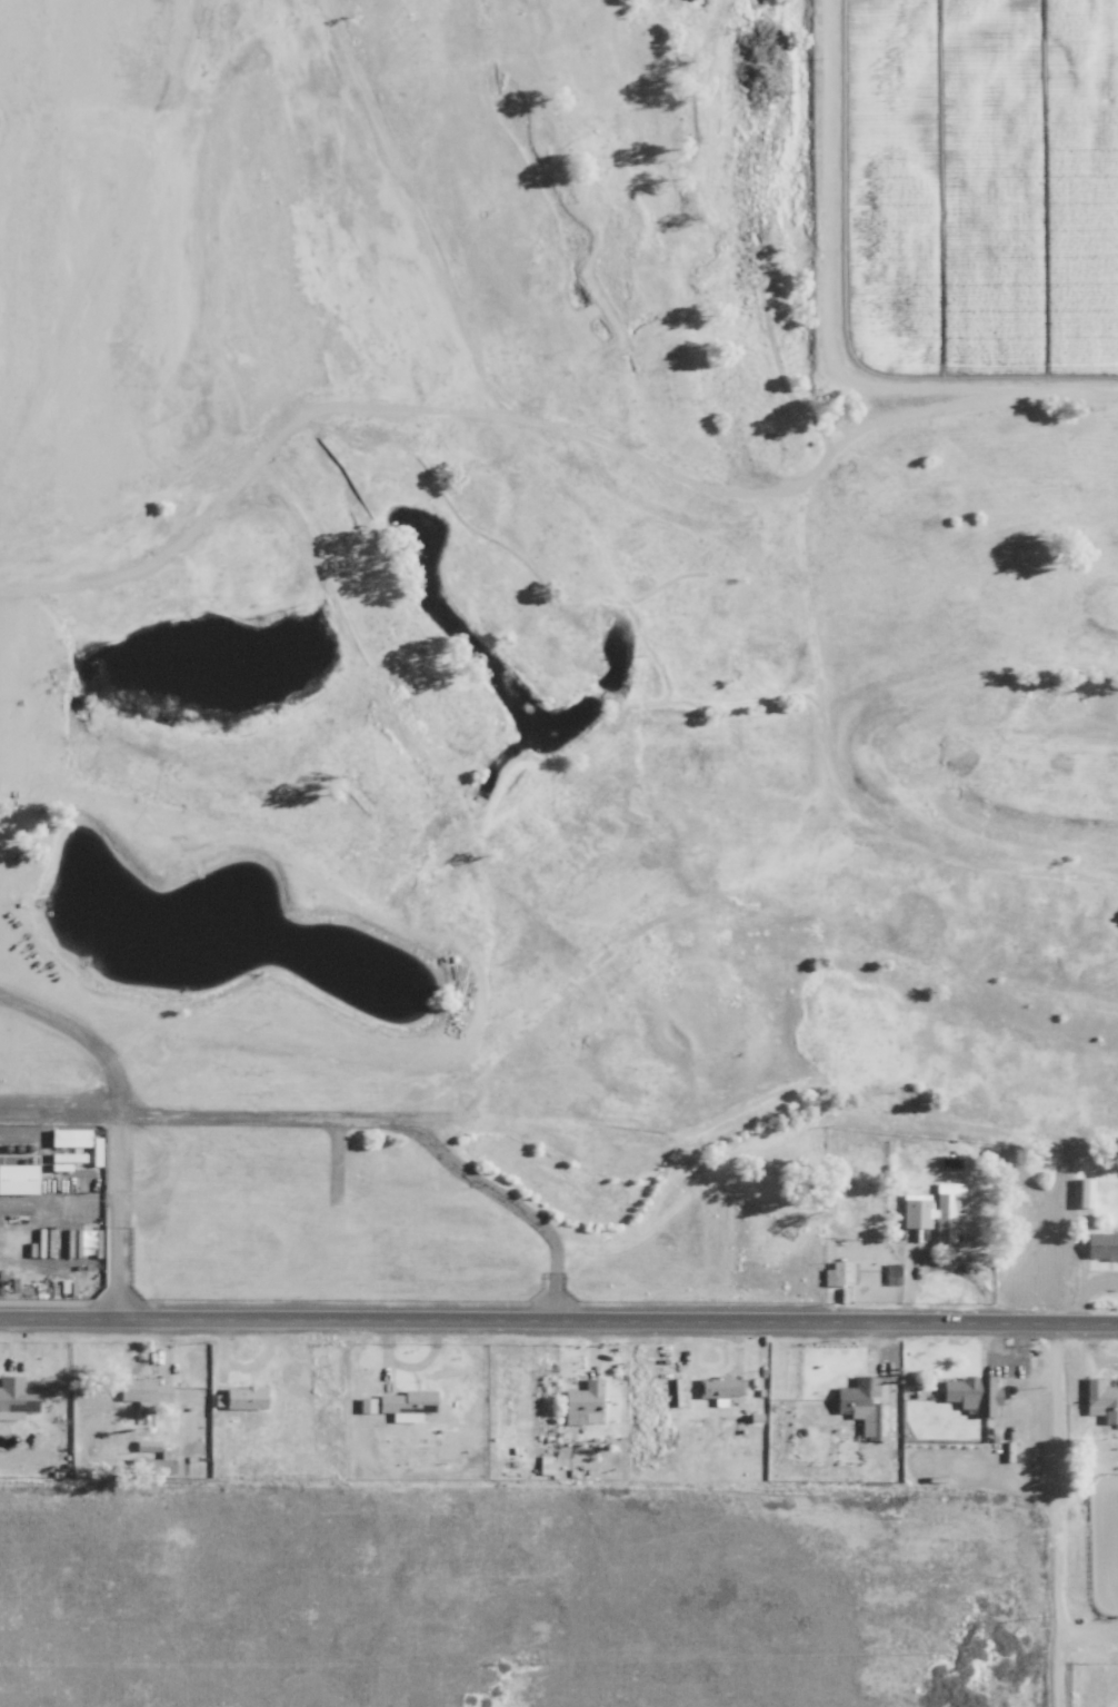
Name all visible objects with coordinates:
road: (395, 1117)
road: (114, 1154)
building: (16, 1179)
building: (934, 1213)
building: (88, 1243)
building: (1100, 1247)
road: (558, 1319)
building: (720, 1387)
building: (972, 1393)
building: (14, 1398)
building: (240, 1398)
building: (1100, 1400)
building: (407, 1401)
building: (583, 1402)
building: (366, 1405)
building: (144, 1445)
road: (1051, 1476)

